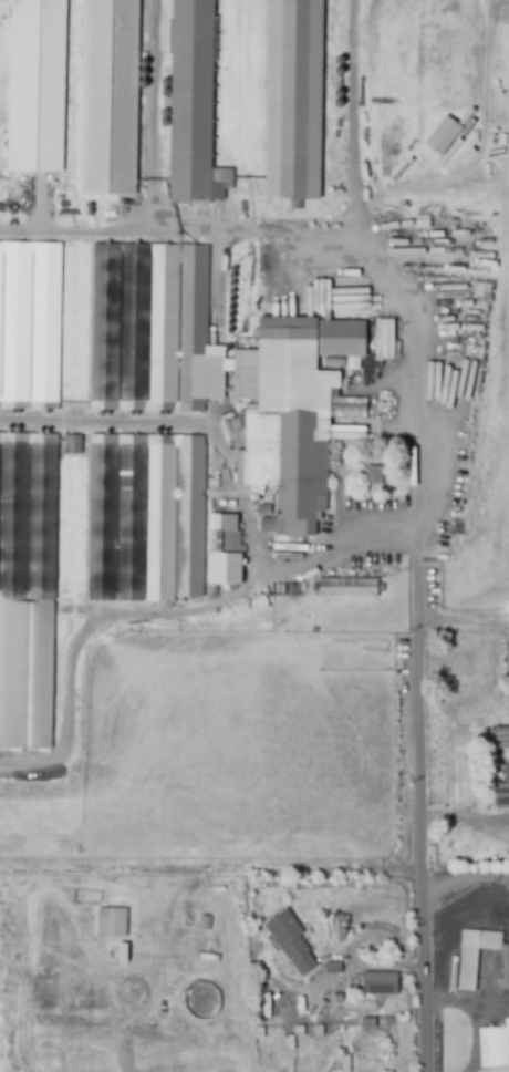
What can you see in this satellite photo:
building: (34, 85)
building: (107, 96)
building: (292, 101)
building: (194, 105)
road: (352, 125)
building: (440, 134)
road: (156, 215)
road: (82, 223)
building: (30, 324)
building: (149, 326)
building: (290, 426)
road: (420, 431)
building: (71, 443)
building: (375, 474)
building: (28, 515)
building: (148, 515)
building: (227, 539)
building: (347, 587)
road: (160, 611)
road: (463, 622)
building: (27, 676)
building: (503, 738)
building: (501, 794)
road: (466, 818)
road: (422, 852)
road: (211, 868)
road: (466, 883)
building: (112, 924)
building: (204, 924)
building: (291, 940)
building: (475, 955)
road: (361, 965)
building: (505, 967)
building: (334, 968)
building: (381, 982)
road: (466, 1006)
road: (475, 1035)
building: (495, 1047)

